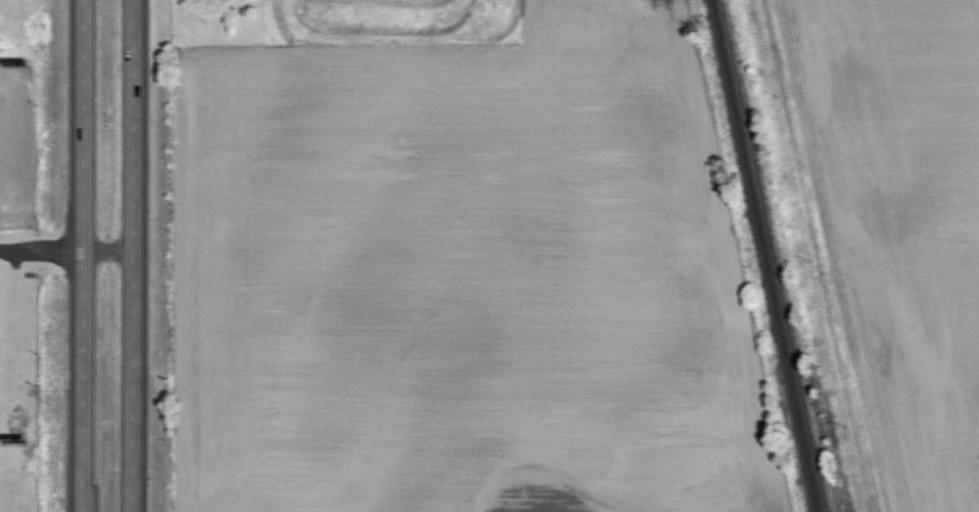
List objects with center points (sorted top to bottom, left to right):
road: (66, 249)
road: (83, 255)
road: (133, 256)
railway: (766, 256)

